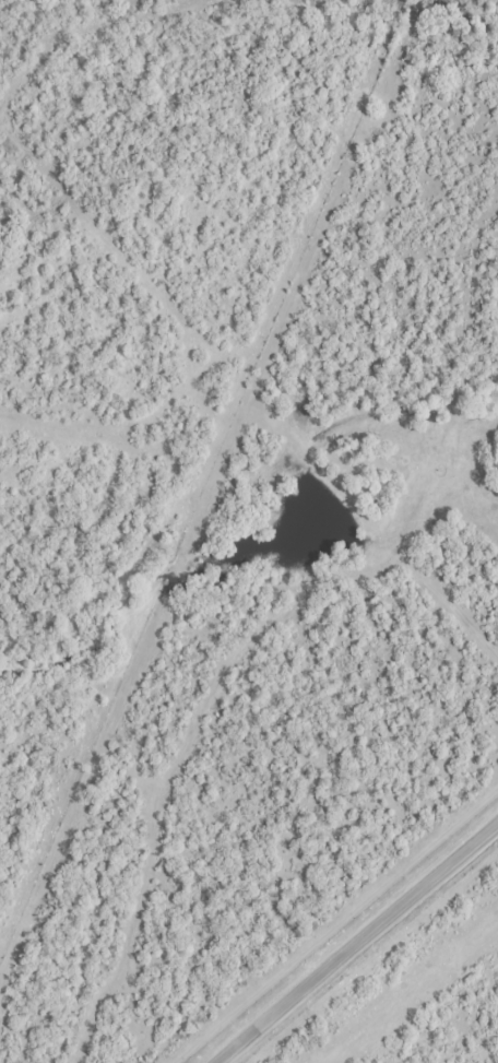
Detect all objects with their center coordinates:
road: (360, 946)

